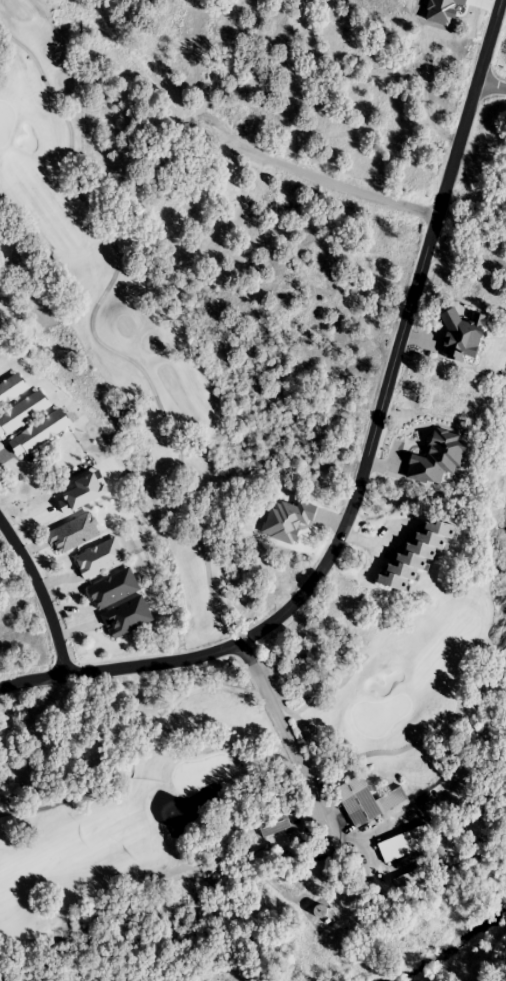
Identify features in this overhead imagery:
road: (490, 88)
road: (324, 181)
building: (11, 389)
building: (22, 413)
building: (39, 433)
road: (366, 457)
park: (194, 497)
building: (417, 554)
building: (99, 558)
building: (113, 588)
road: (41, 593)
building: (126, 617)
road: (288, 738)
building: (366, 801)
building: (272, 823)
building: (405, 843)
park: (169, 862)
building: (409, 880)

